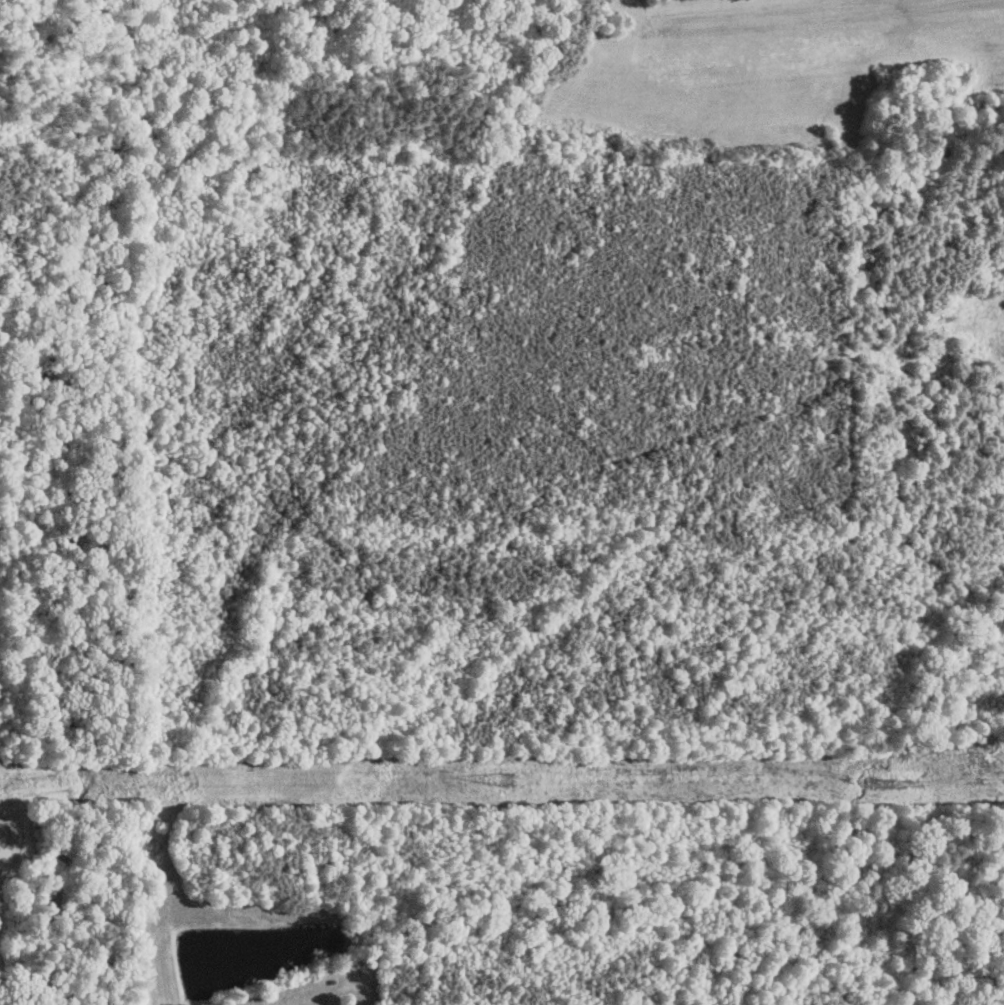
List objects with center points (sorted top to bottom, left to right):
power tower: (505, 780)

